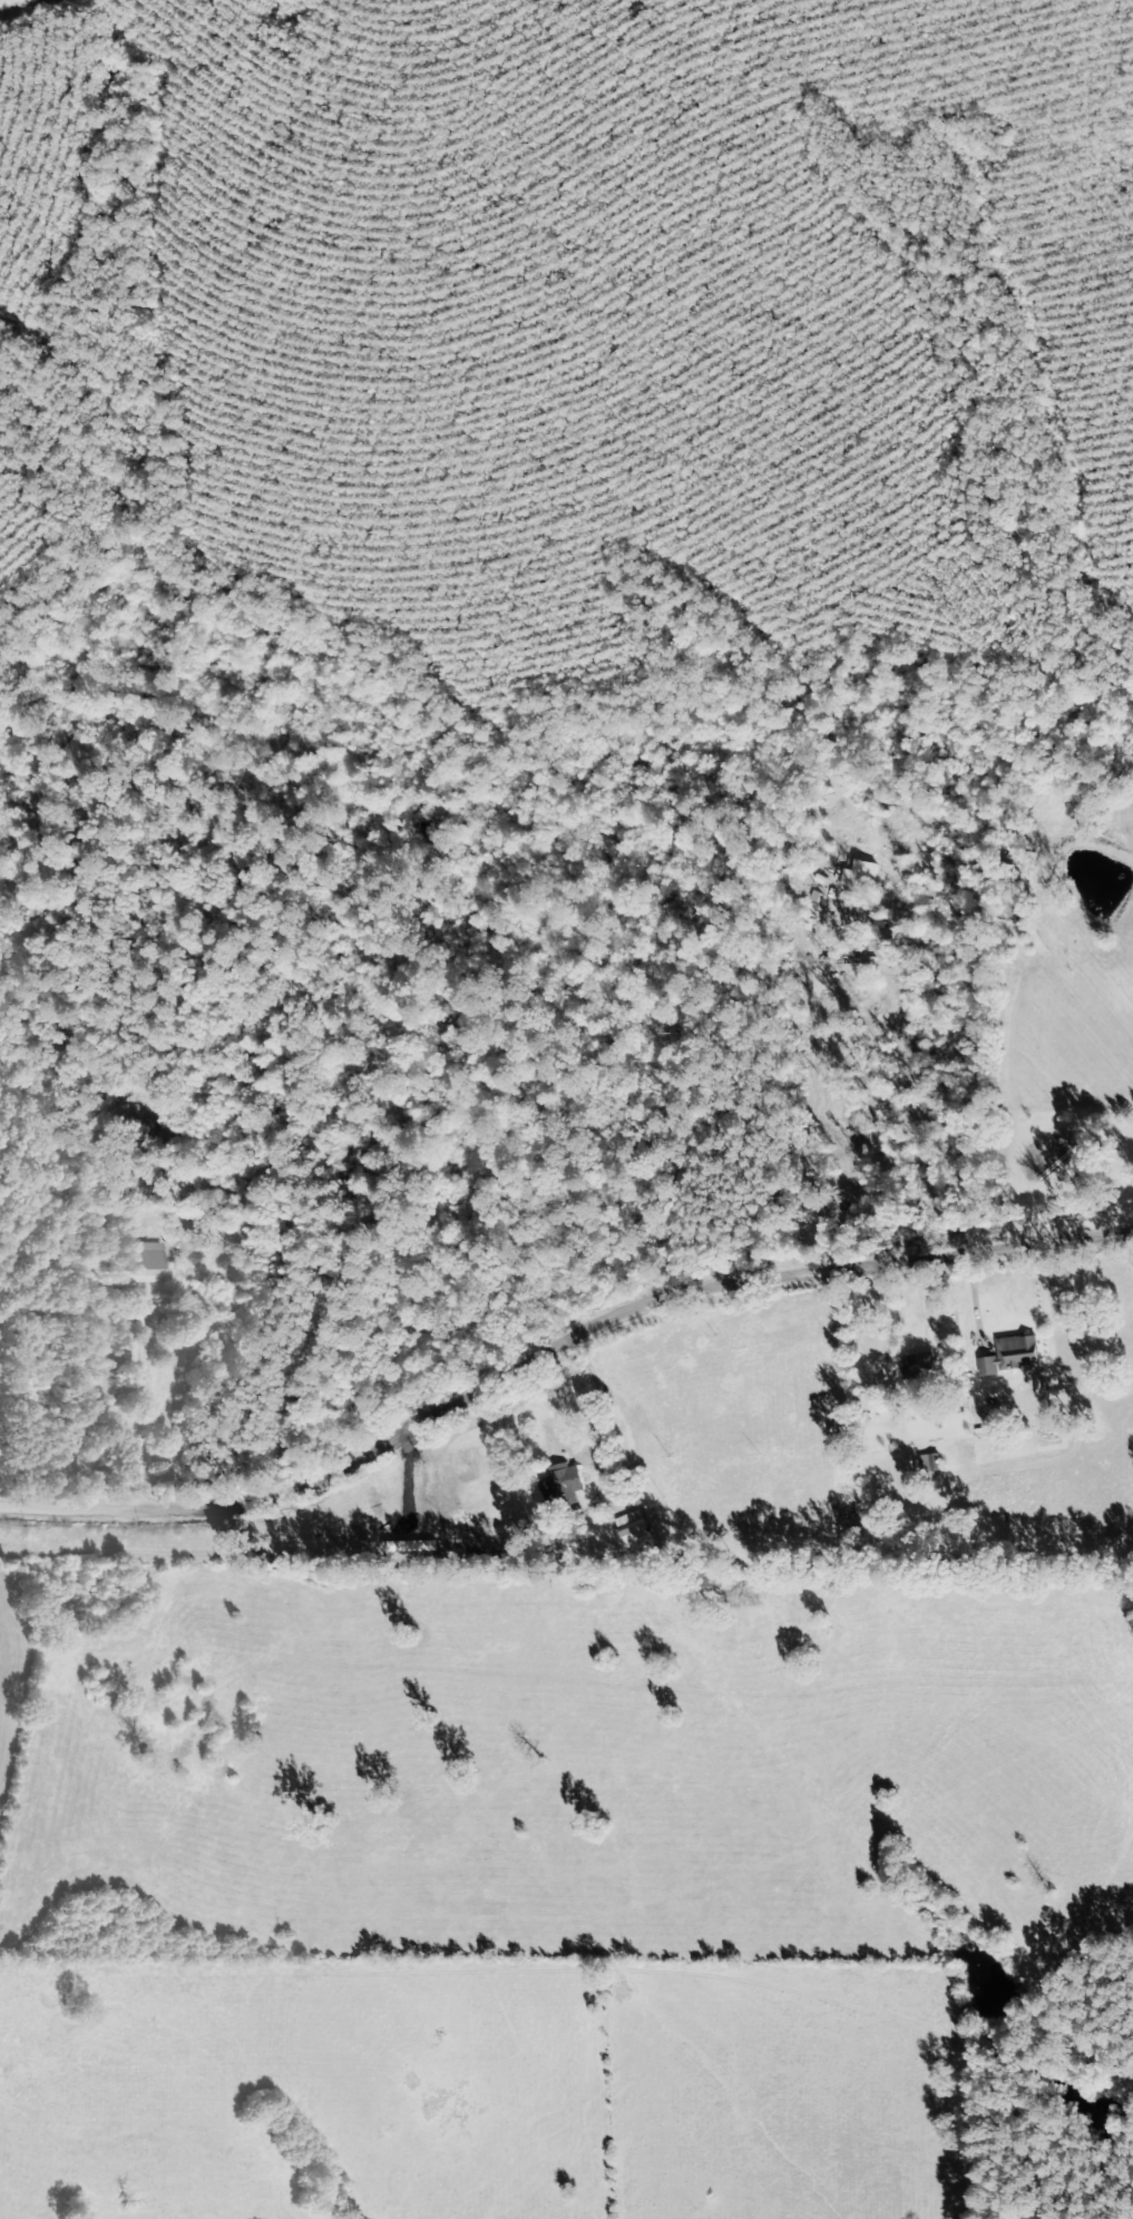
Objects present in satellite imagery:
building: (841, 878)
road: (831, 1057)
building: (206, 1212)
road: (852, 1230)
building: (147, 1265)
road: (979, 1307)
road: (550, 1346)
building: (1013, 1355)
building: (916, 1365)
road: (604, 1394)
road: (147, 1406)
road: (409, 1479)
building: (561, 1487)
building: (633, 1528)

